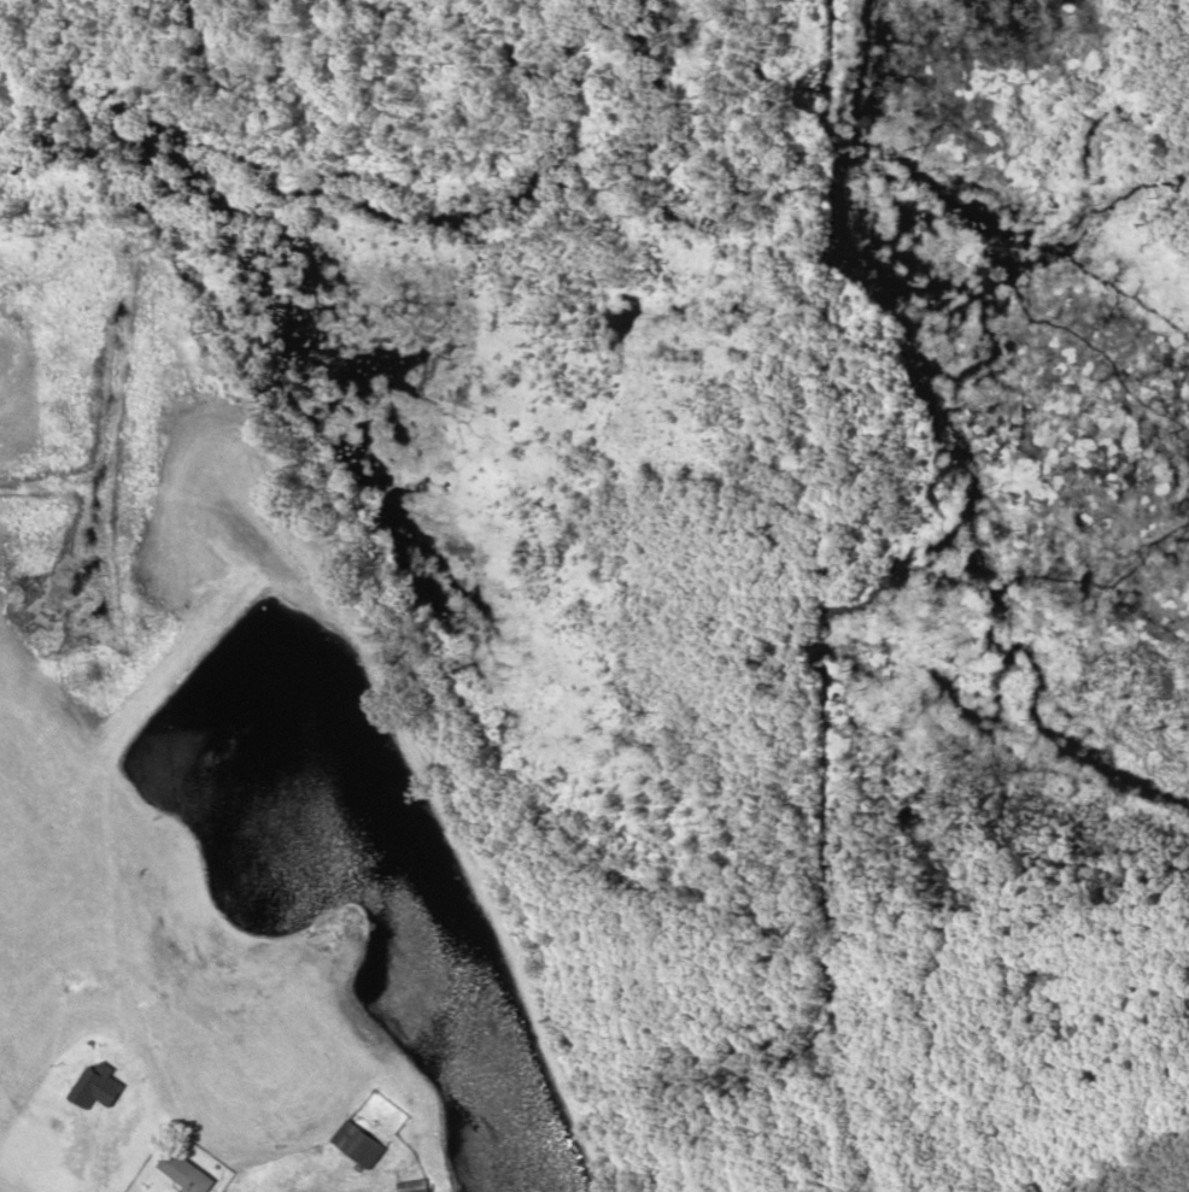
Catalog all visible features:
building: (357, 1145)
building: (184, 1172)
building: (412, 1186)

